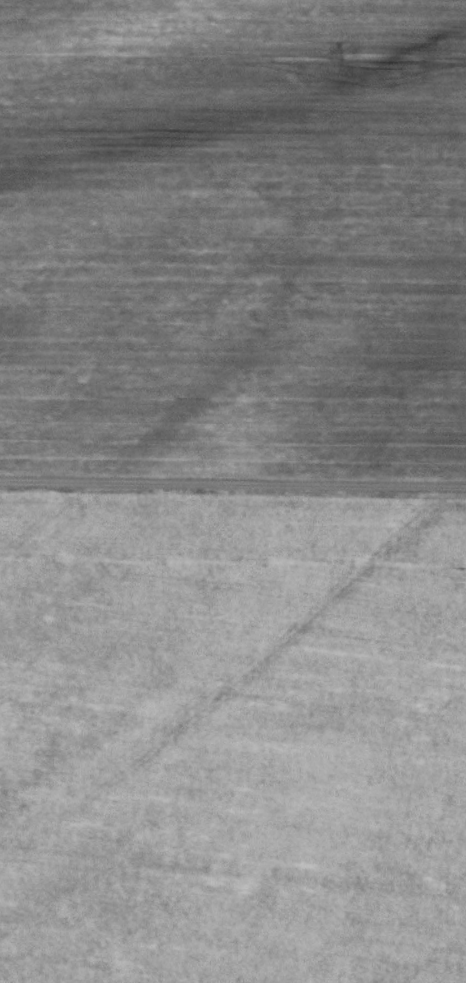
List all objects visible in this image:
road: (233, 486)

